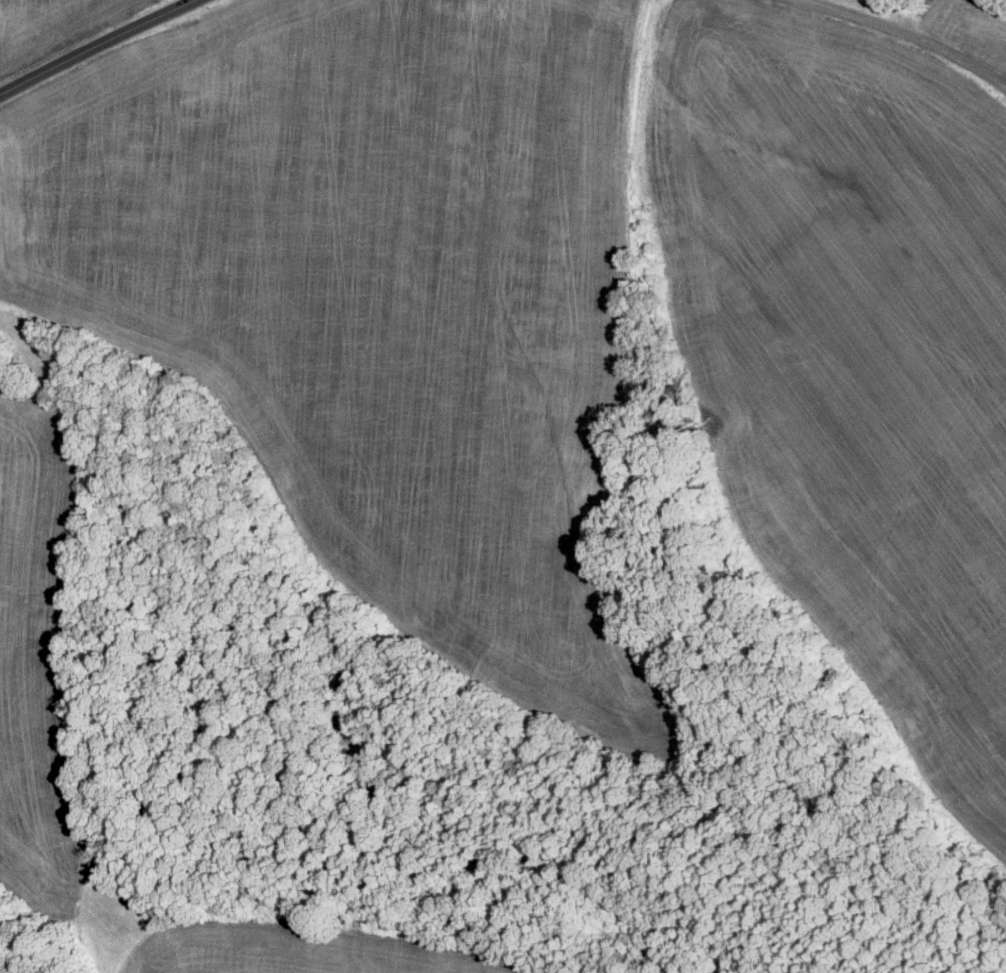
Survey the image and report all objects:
crop: (963, 26)
crop: (56, 28)
road: (905, 34)
road: (95, 45)
crop: (381, 302)
crop: (847, 350)
road: (31, 391)
road: (61, 632)
crop: (35, 659)
road: (106, 893)
crop: (318, 947)

